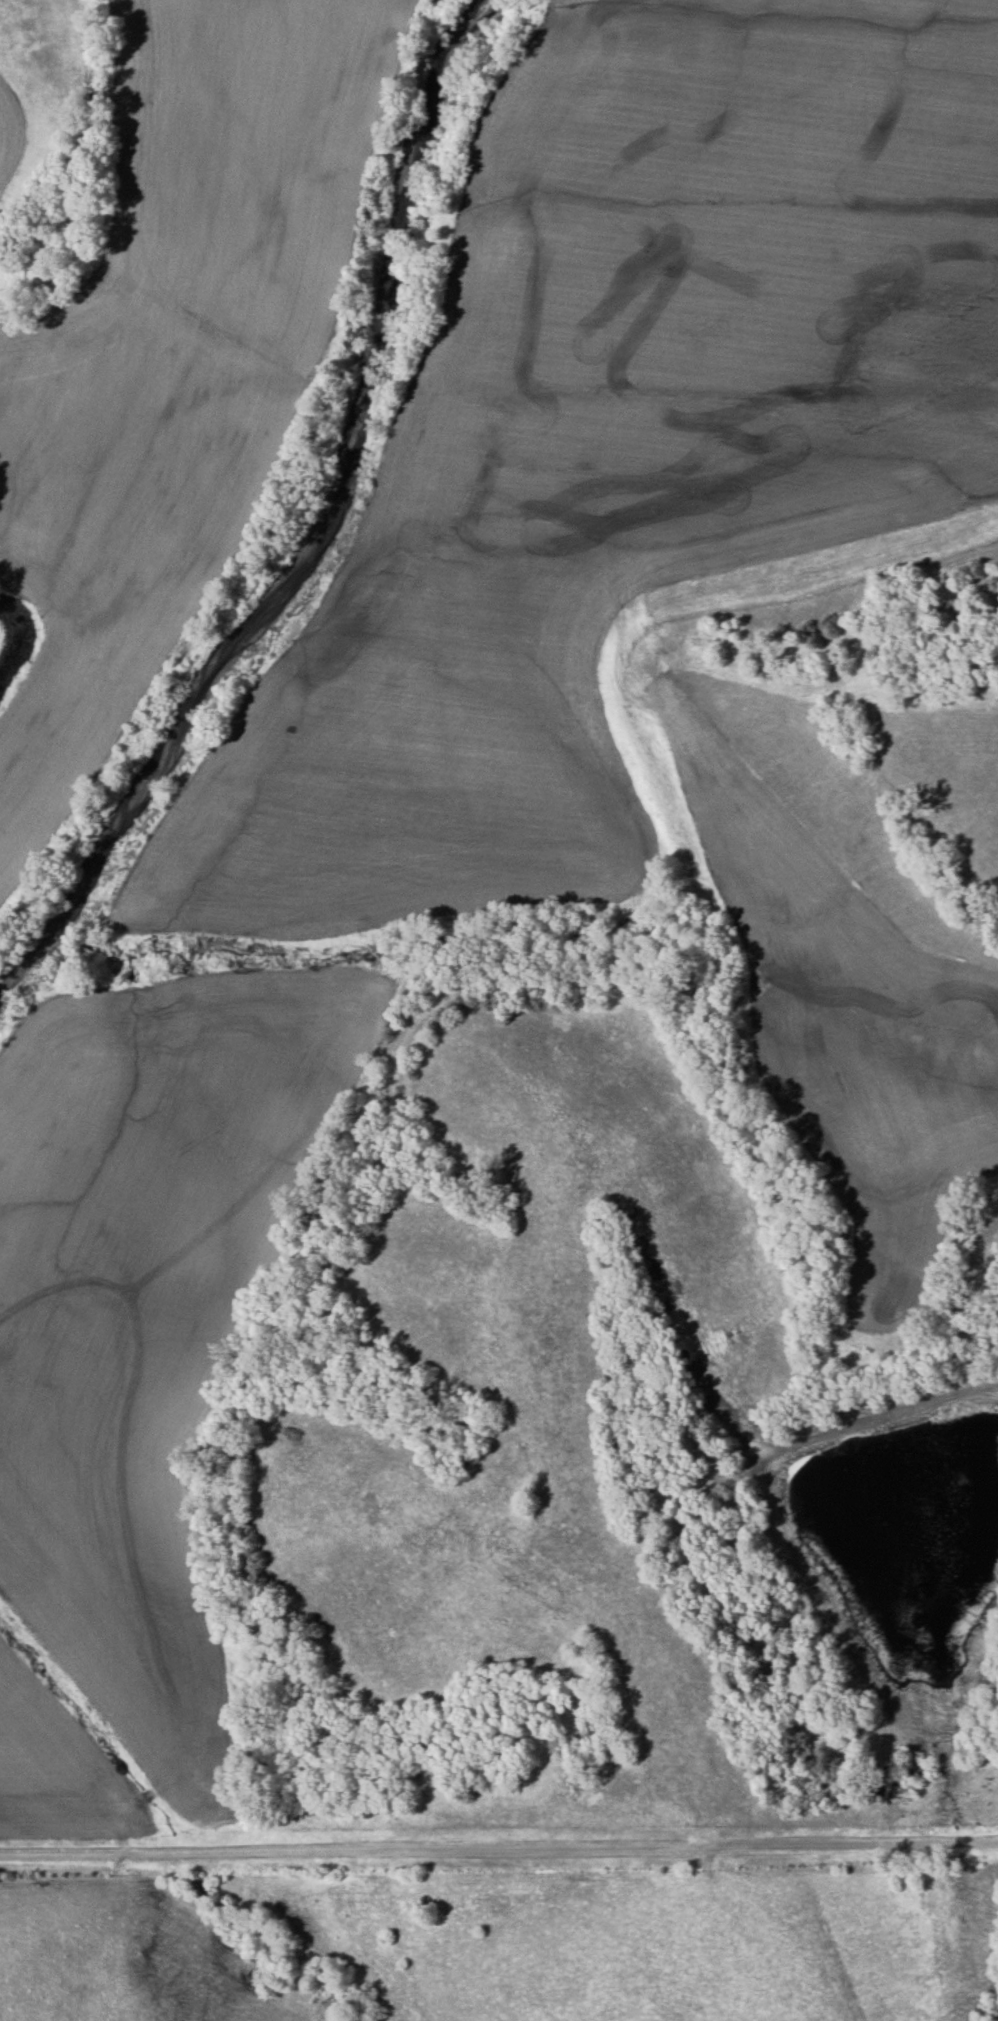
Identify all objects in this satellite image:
road: (499, 1848)

